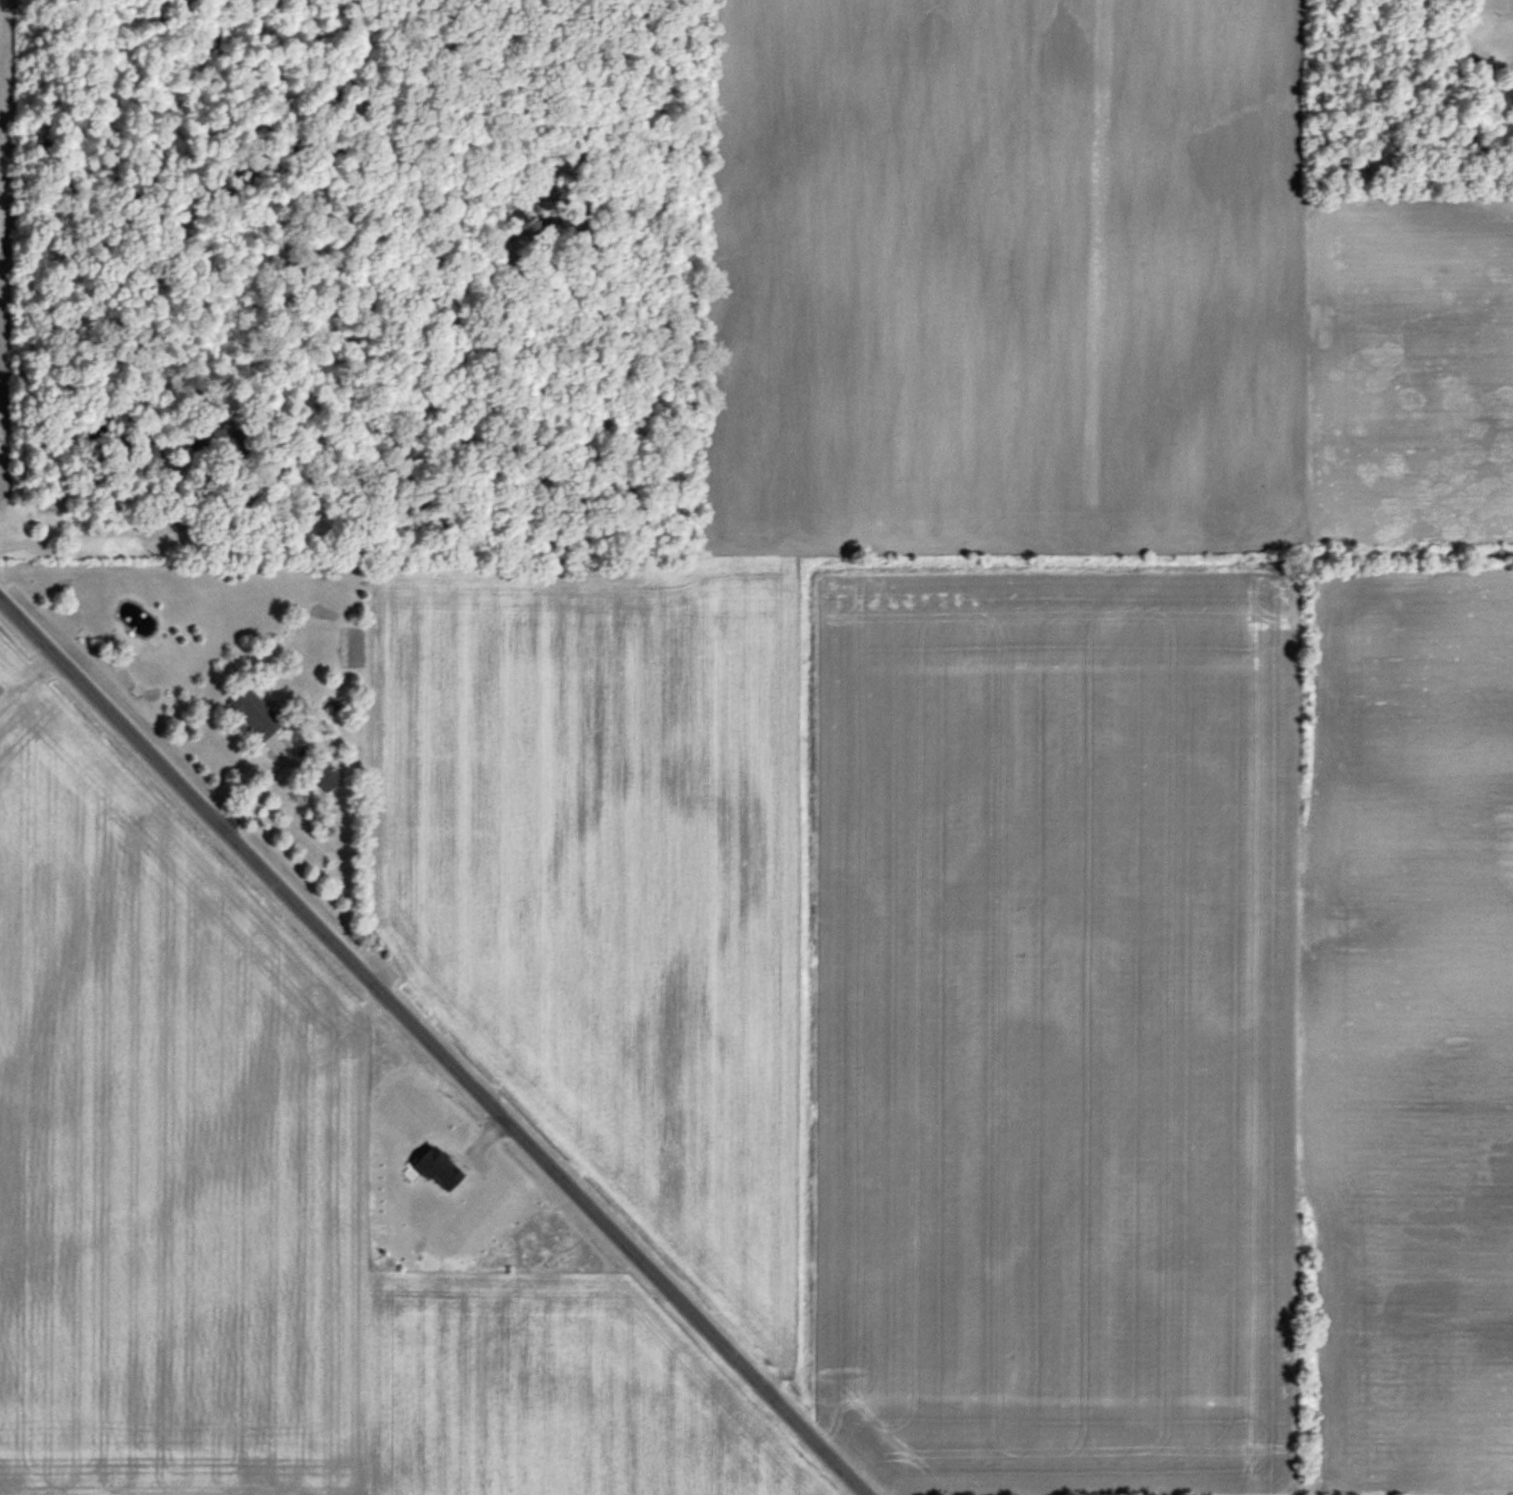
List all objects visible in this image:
road: (86, 534)
building: (252, 713)
building: (320, 774)
road: (436, 1043)
building: (433, 1167)

